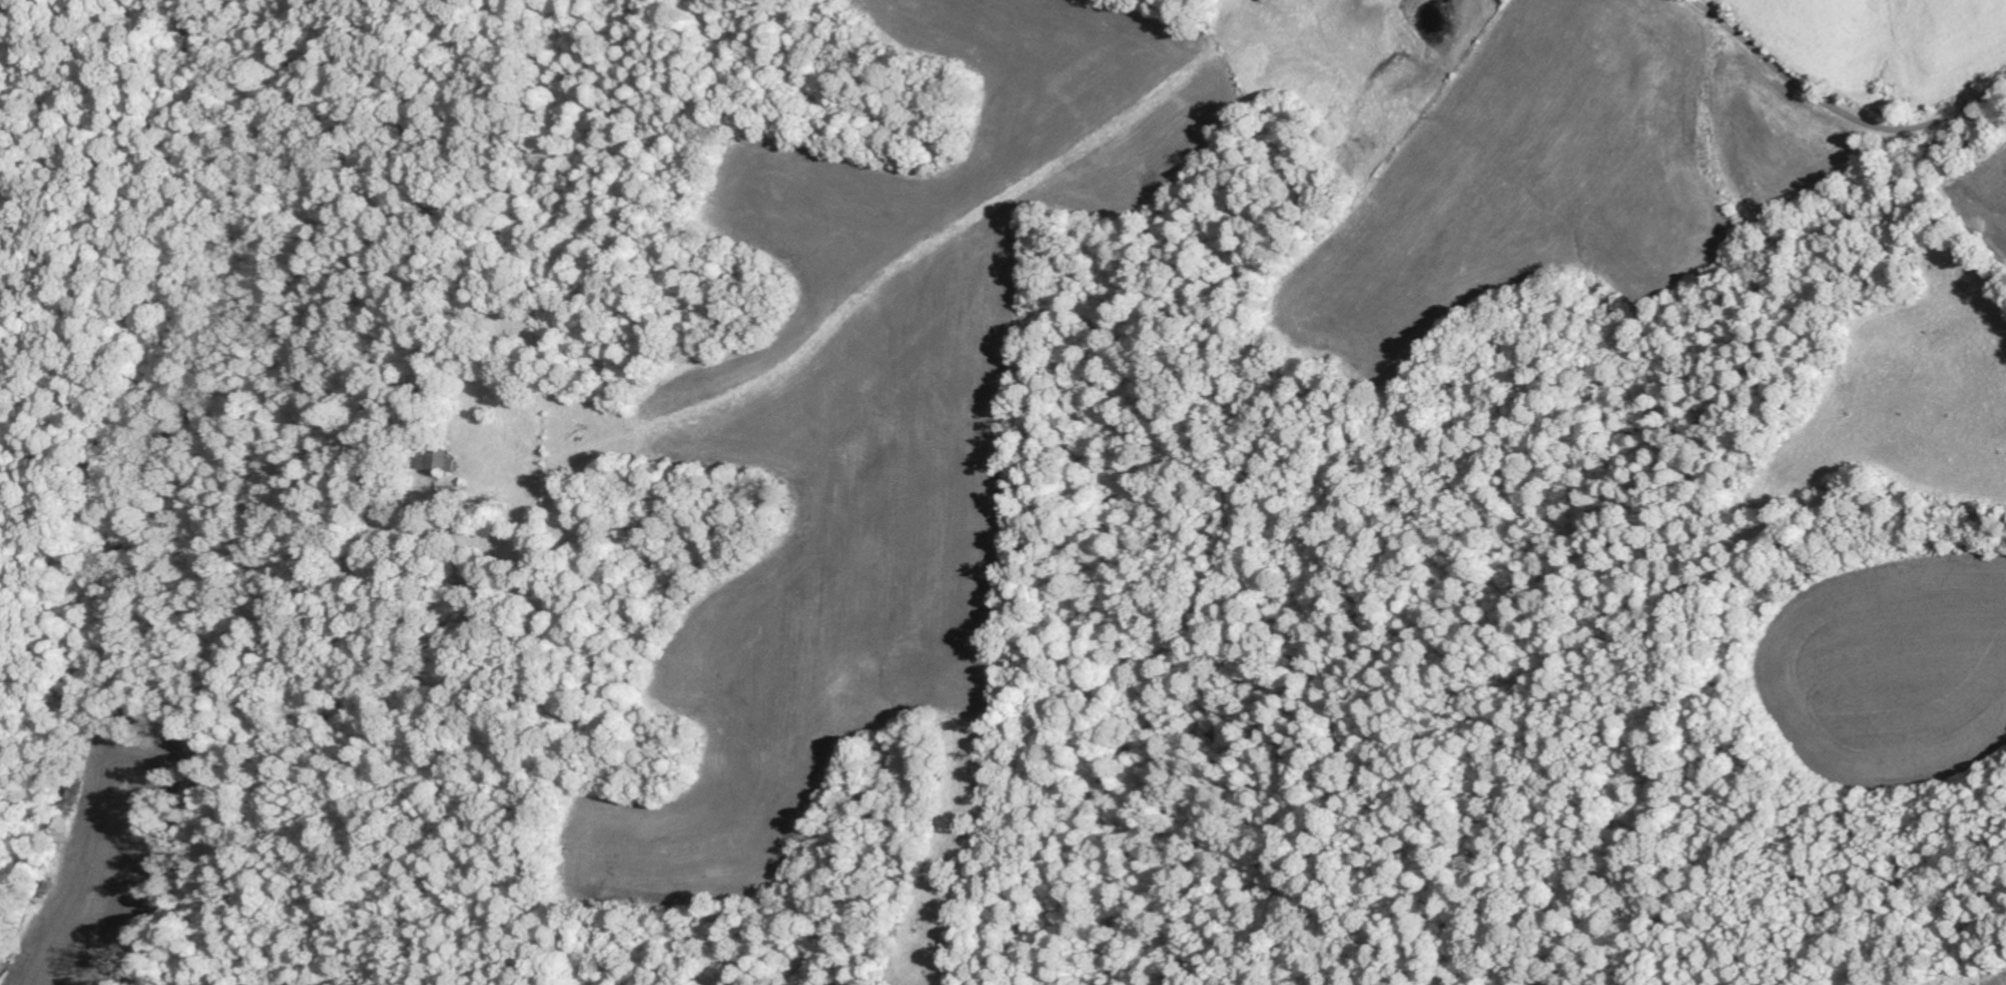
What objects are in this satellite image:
road: (1839, 109)

